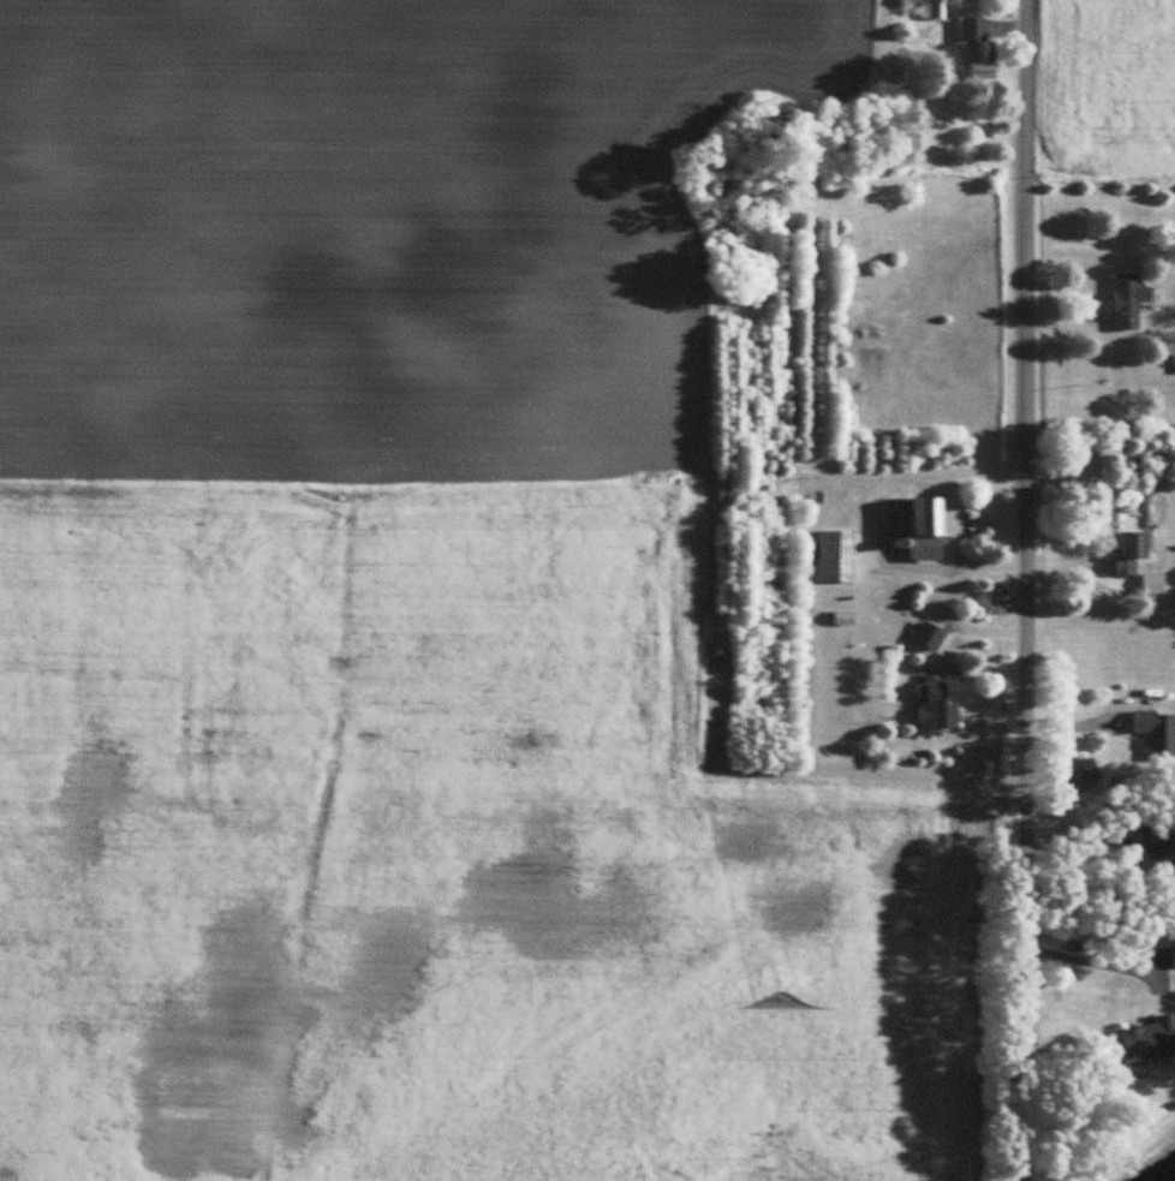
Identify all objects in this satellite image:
building: (934, 8)
building: (977, 47)
building: (1132, 299)
building: (921, 526)
building: (1135, 551)
building: (840, 555)
road: (955, 565)
road: (1025, 590)
road: (956, 619)
building: (931, 636)
building: (944, 704)
building: (1158, 733)
building: (1161, 847)
road: (1101, 956)
building: (1152, 1040)

